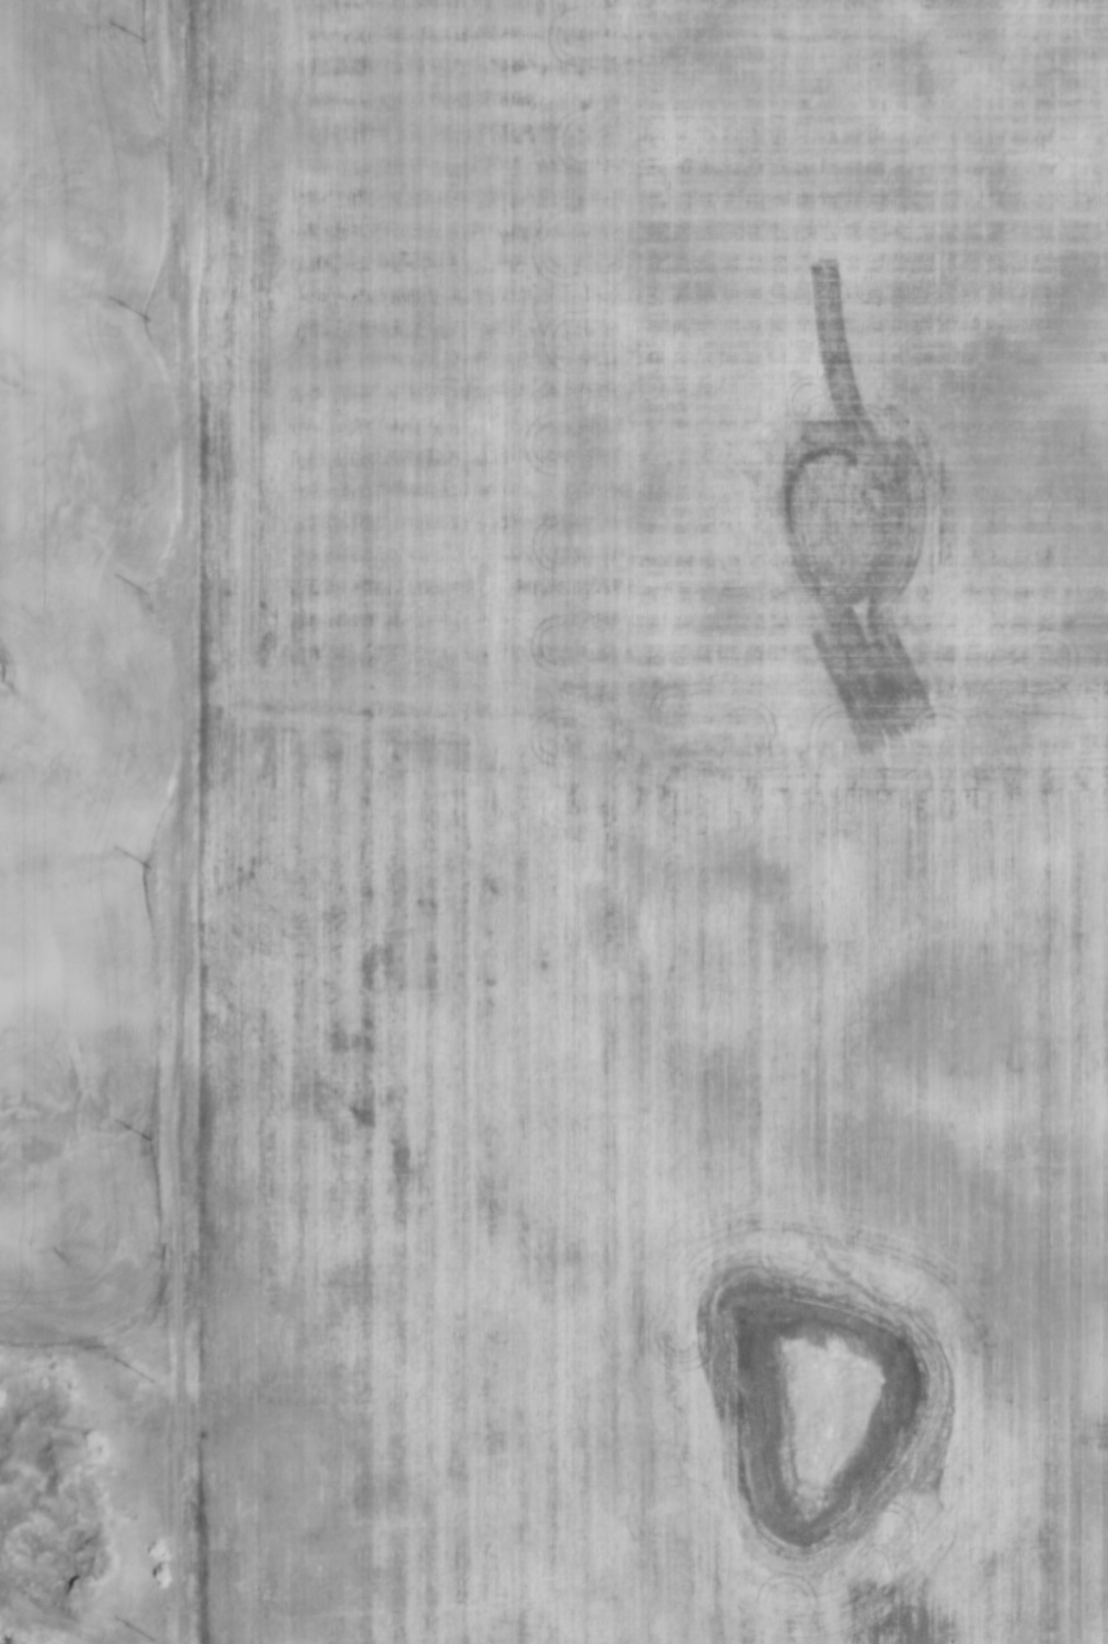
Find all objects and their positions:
road: (177, 821)
quarry: (80, 1495)
road: (59, 1618)

